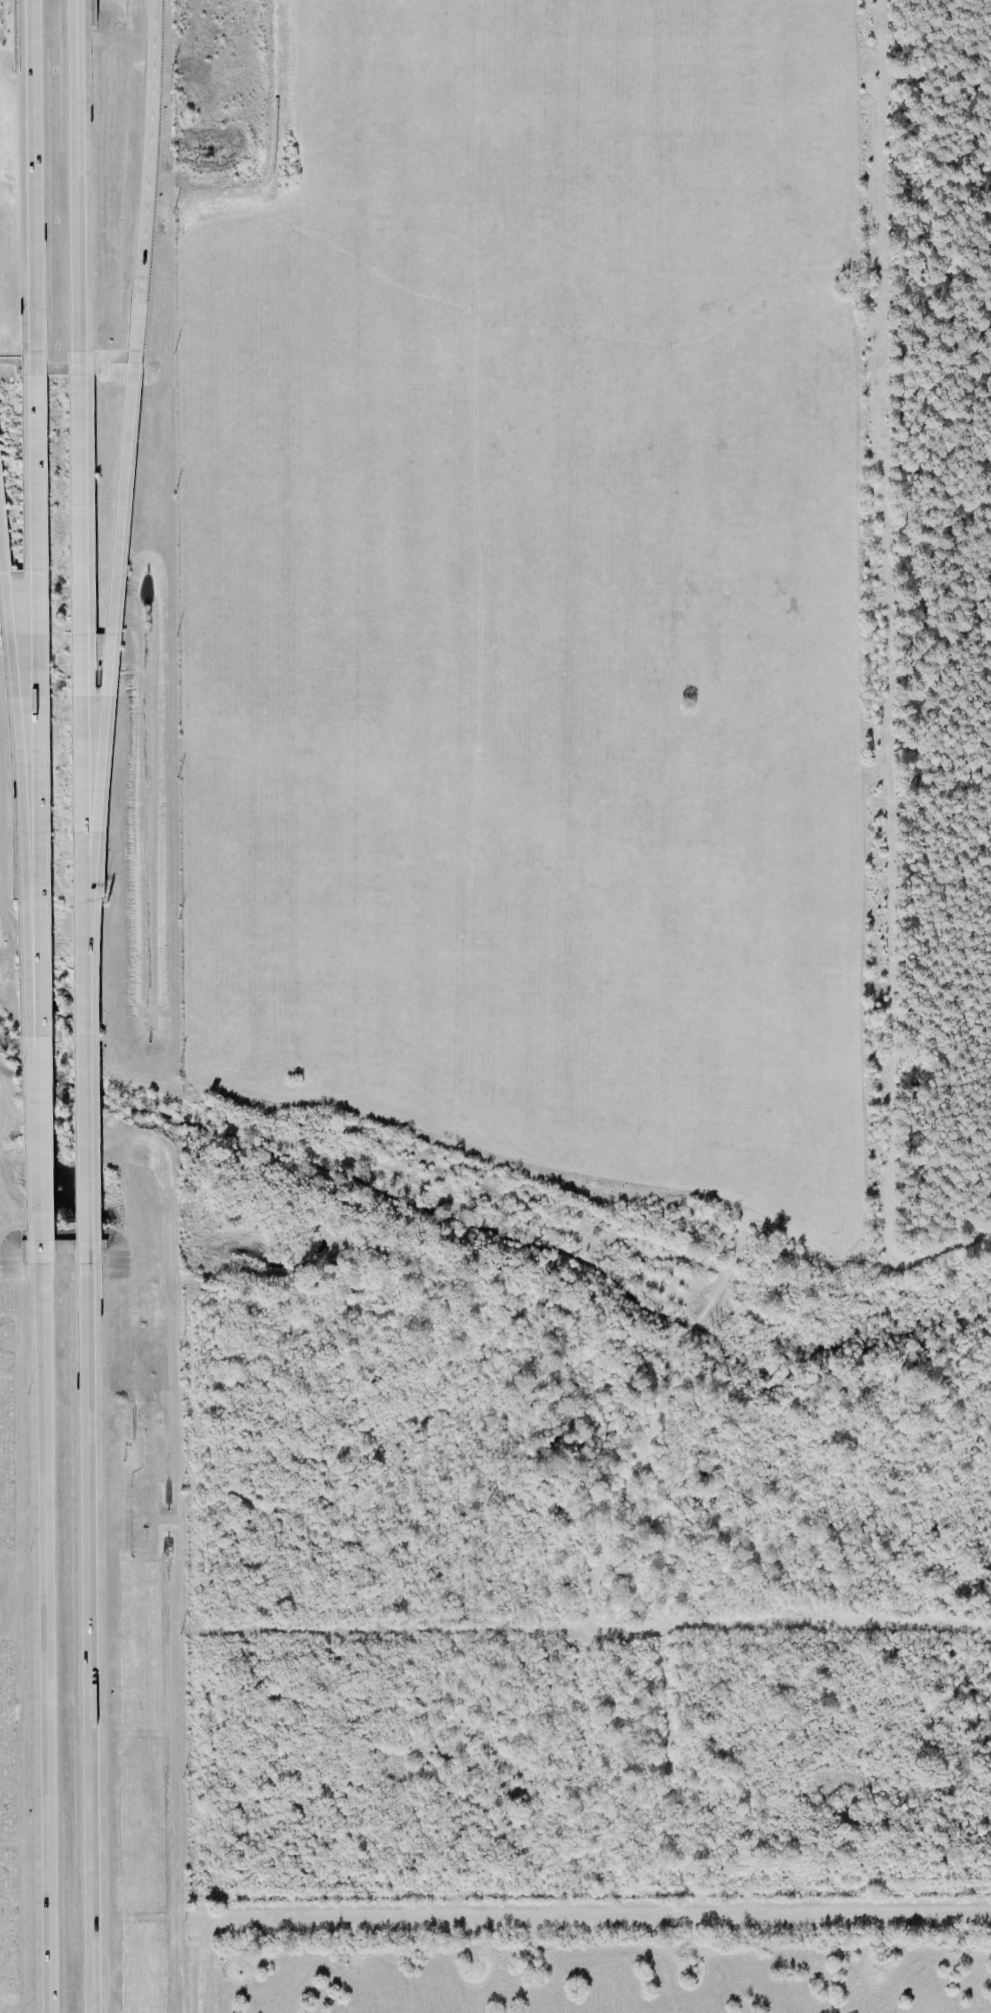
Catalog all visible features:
road: (32, 175)
road: (79, 182)
road: (146, 184)
road: (80, 583)
road: (111, 586)
road: (38, 806)
road: (20, 830)
road: (83, 1022)
road: (89, 1627)
road: (46, 1638)

